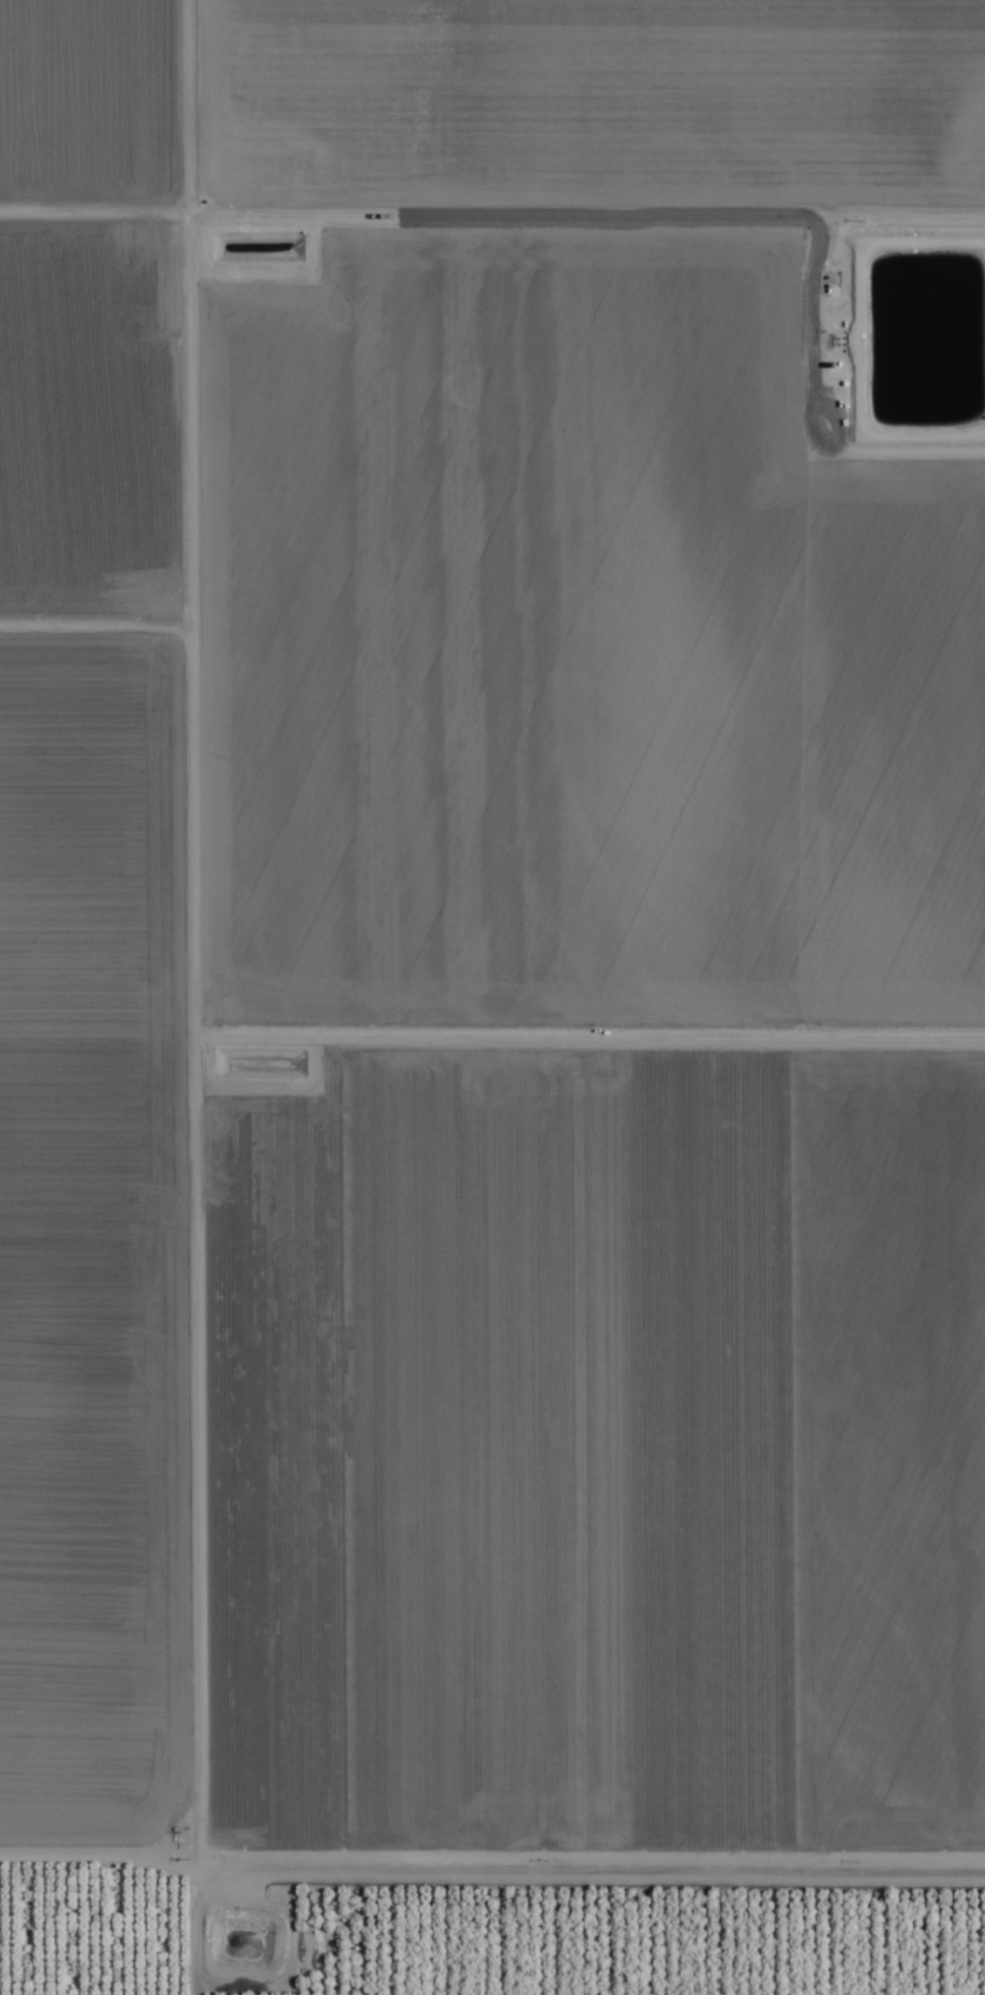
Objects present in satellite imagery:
road: (573, 198)
road: (159, 575)
crop: (492, 997)
road: (492, 1861)

